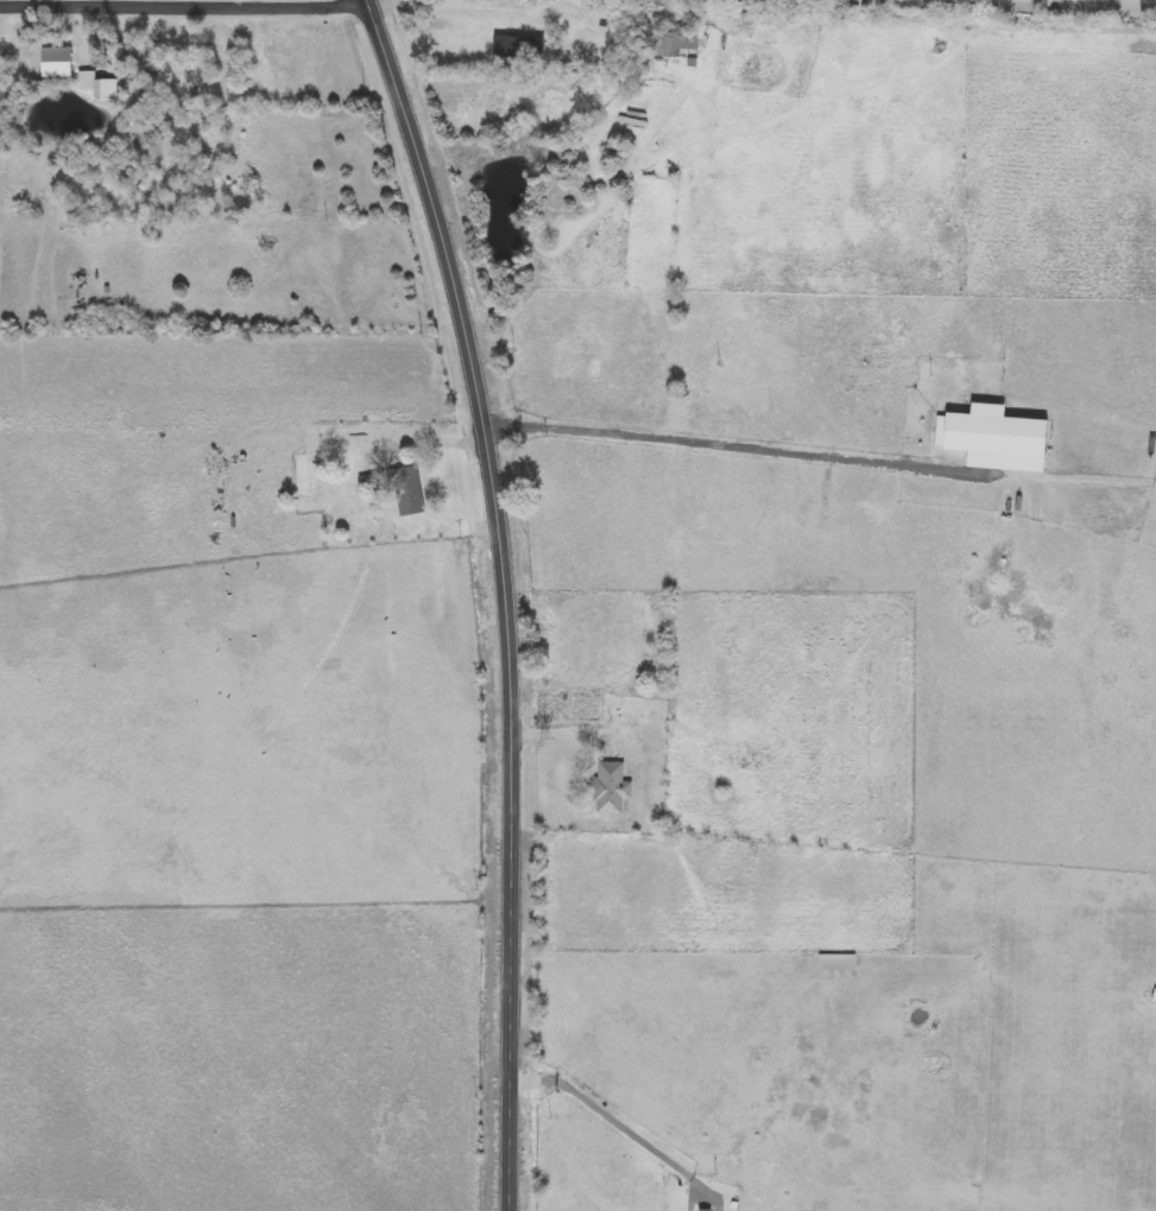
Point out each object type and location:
road: (1032, 4)
road: (183, 6)
road: (513, 18)
building: (676, 42)
building: (519, 47)
building: (57, 62)
building: (192, 68)
road: (693, 438)
road: (434, 439)
building: (397, 488)
road: (504, 596)
road: (562, 731)
building: (611, 787)
road: (624, 1114)

